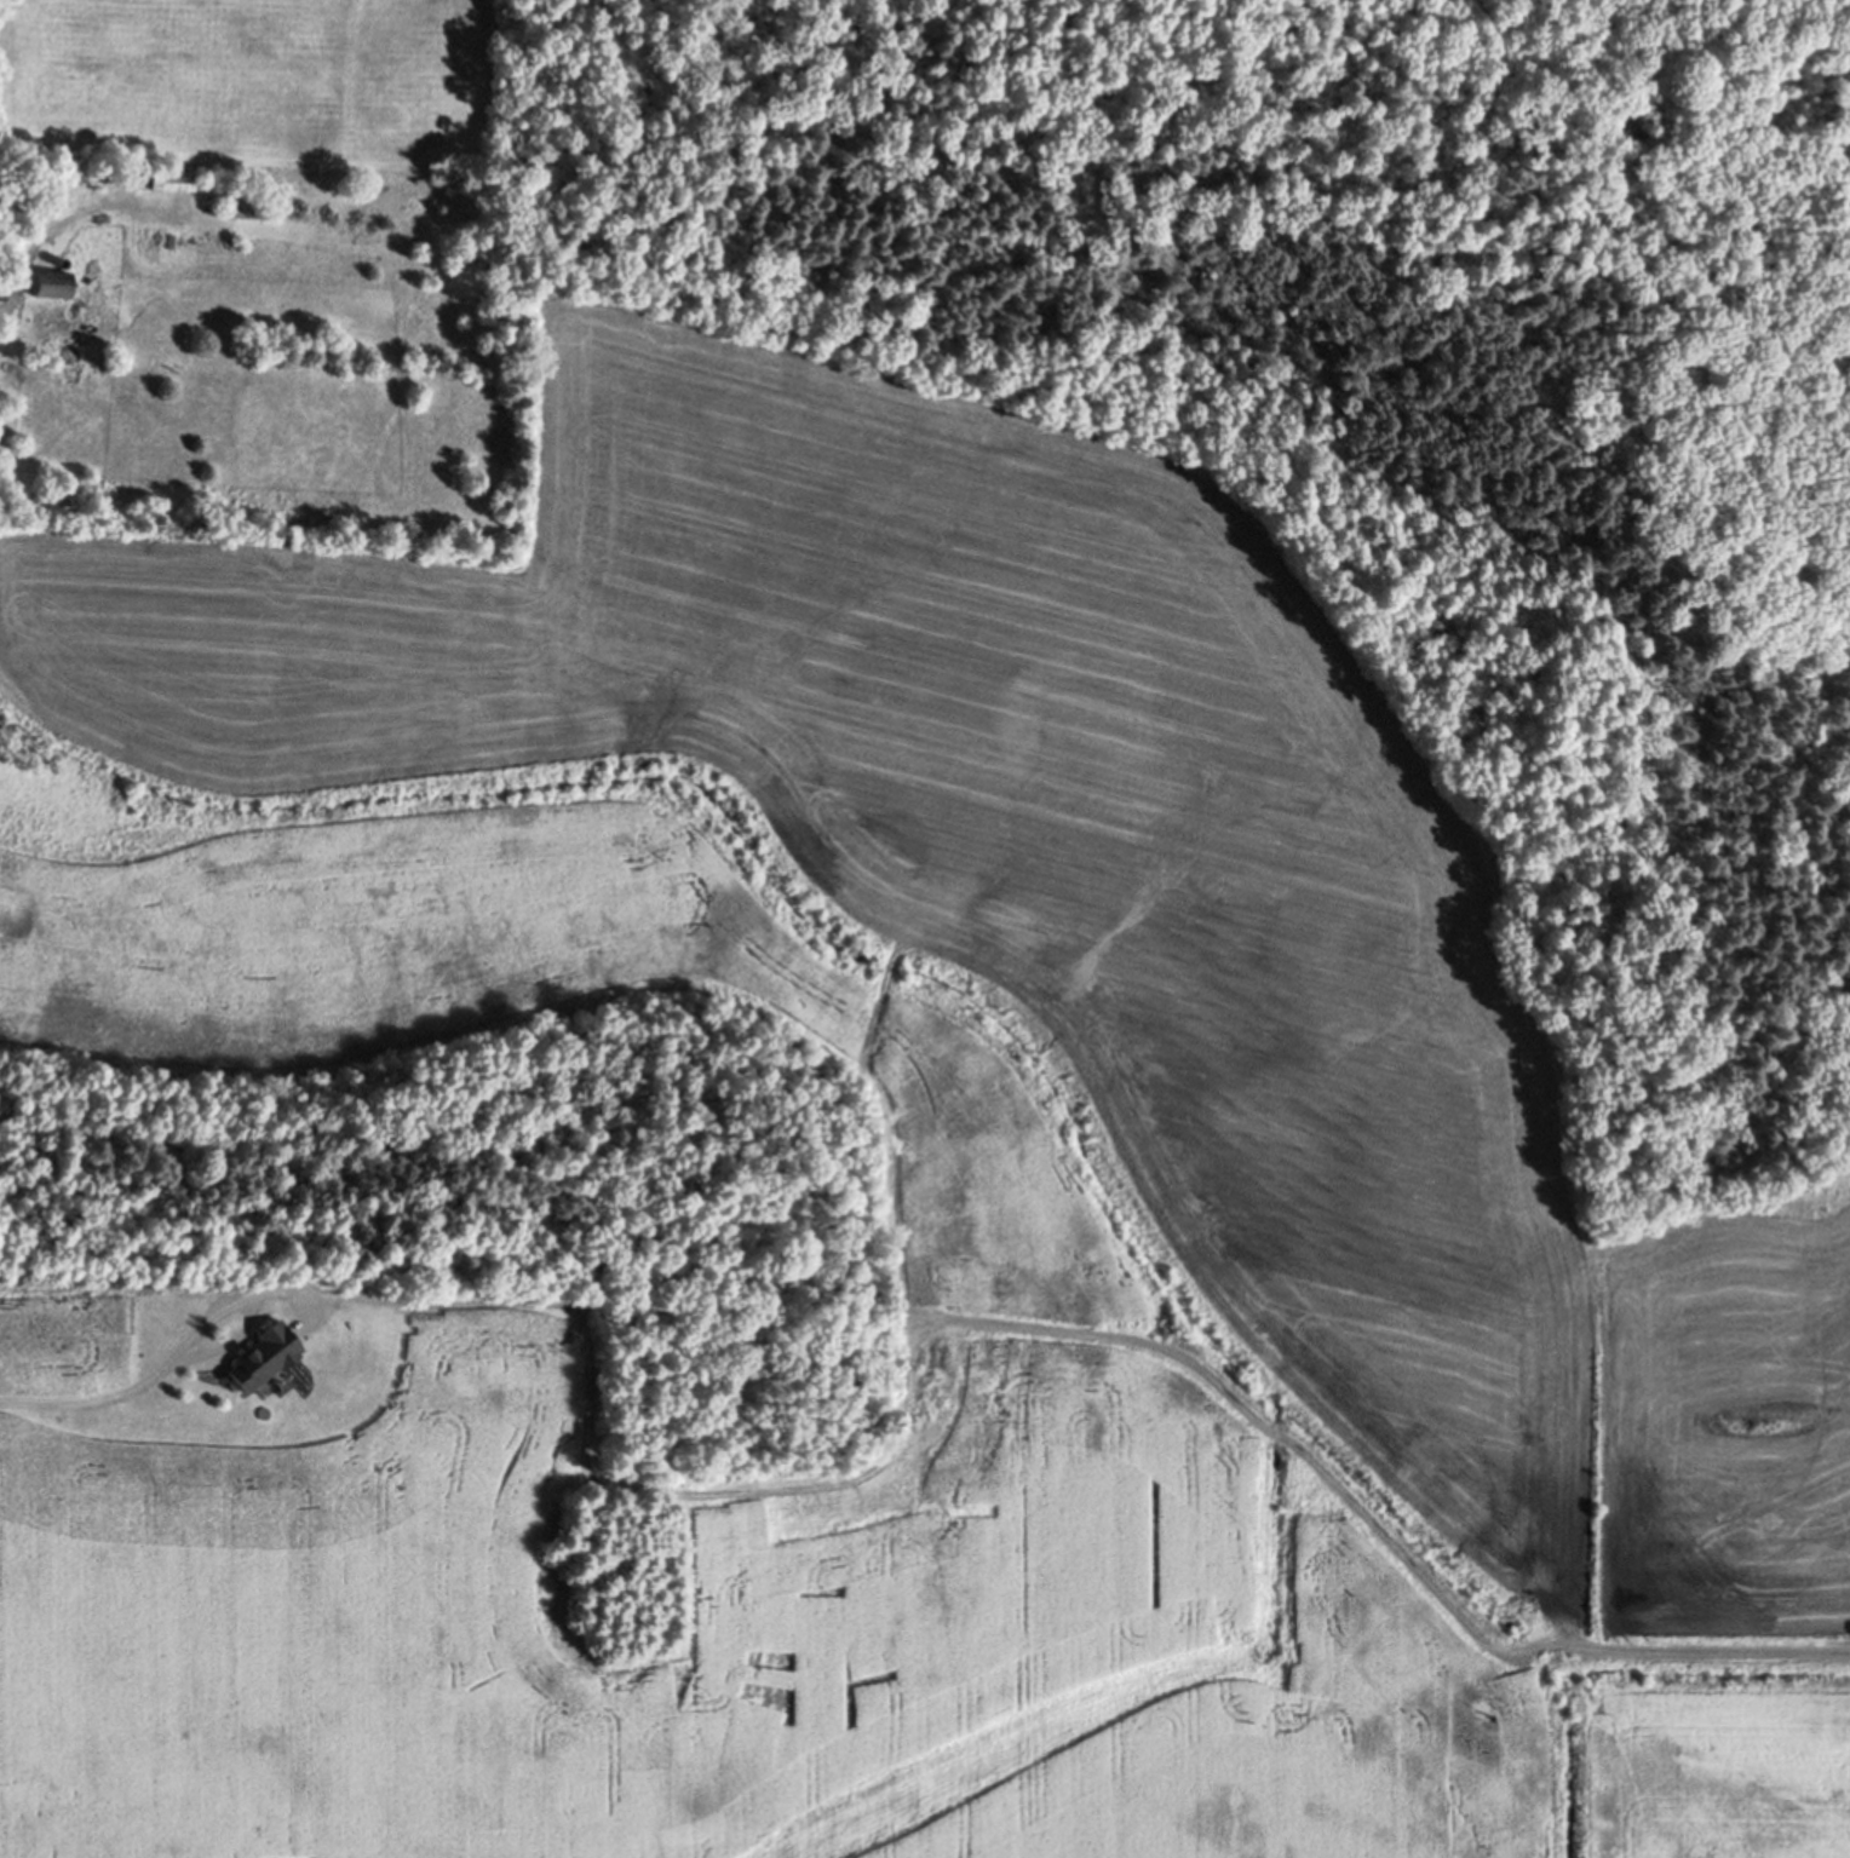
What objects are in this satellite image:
building: (170, 186)
building: (42, 289)
building: (1, 295)
road: (11, 305)
road: (243, 1308)
building: (255, 1364)
road: (86, 1400)

